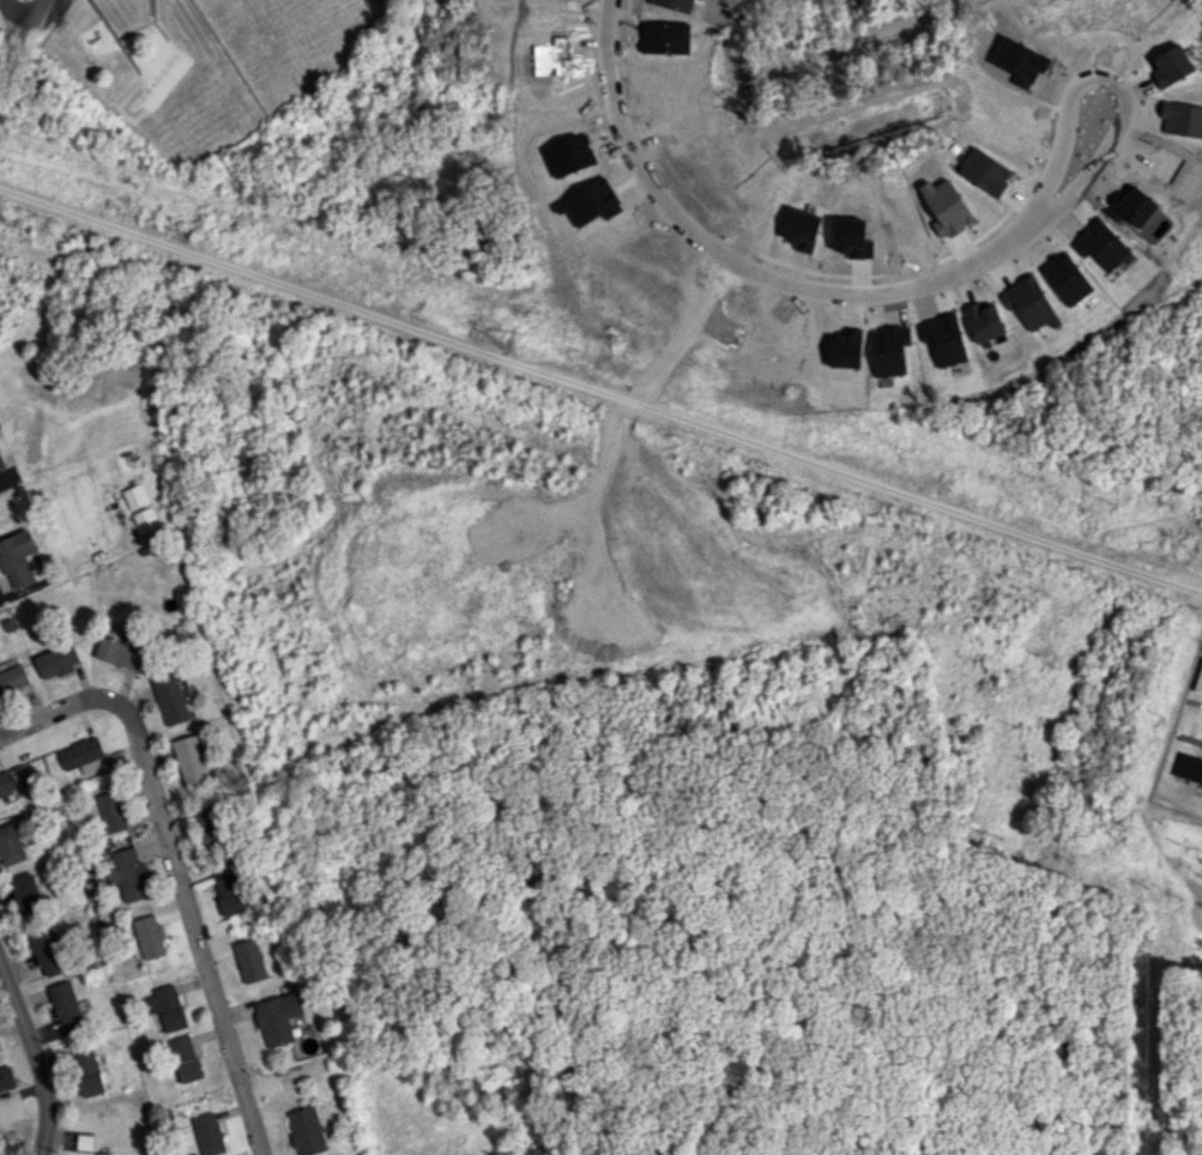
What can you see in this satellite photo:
road: (24, 13)
road: (606, 43)
road: (848, 303)
power tower: (512, 347)
road: (648, 398)
building: (0, 425)
building: (1, 462)
building: (135, 496)
road: (520, 506)
building: (145, 519)
building: (17, 558)
road: (294, 572)
building: (122, 651)
building: (56, 660)
road: (835, 660)
building: (13, 679)
building: (170, 699)
building: (81, 755)
building: (191, 761)
building: (1189, 767)
building: (20, 778)
building: (6, 784)
building: (113, 815)
building: (207, 824)
building: (10, 845)
road: (173, 864)
building: (128, 873)
building: (229, 891)
building: (26, 893)
building: (150, 937)
building: (48, 954)
building: (250, 960)
building: (65, 1003)
building: (169, 1008)
building: (278, 1017)
road: (35, 1058)
building: (185, 1058)
road: (537, 1069)
building: (86, 1072)
building: (6, 1077)
building: (307, 1130)
building: (207, 1133)
building: (84, 1143)

